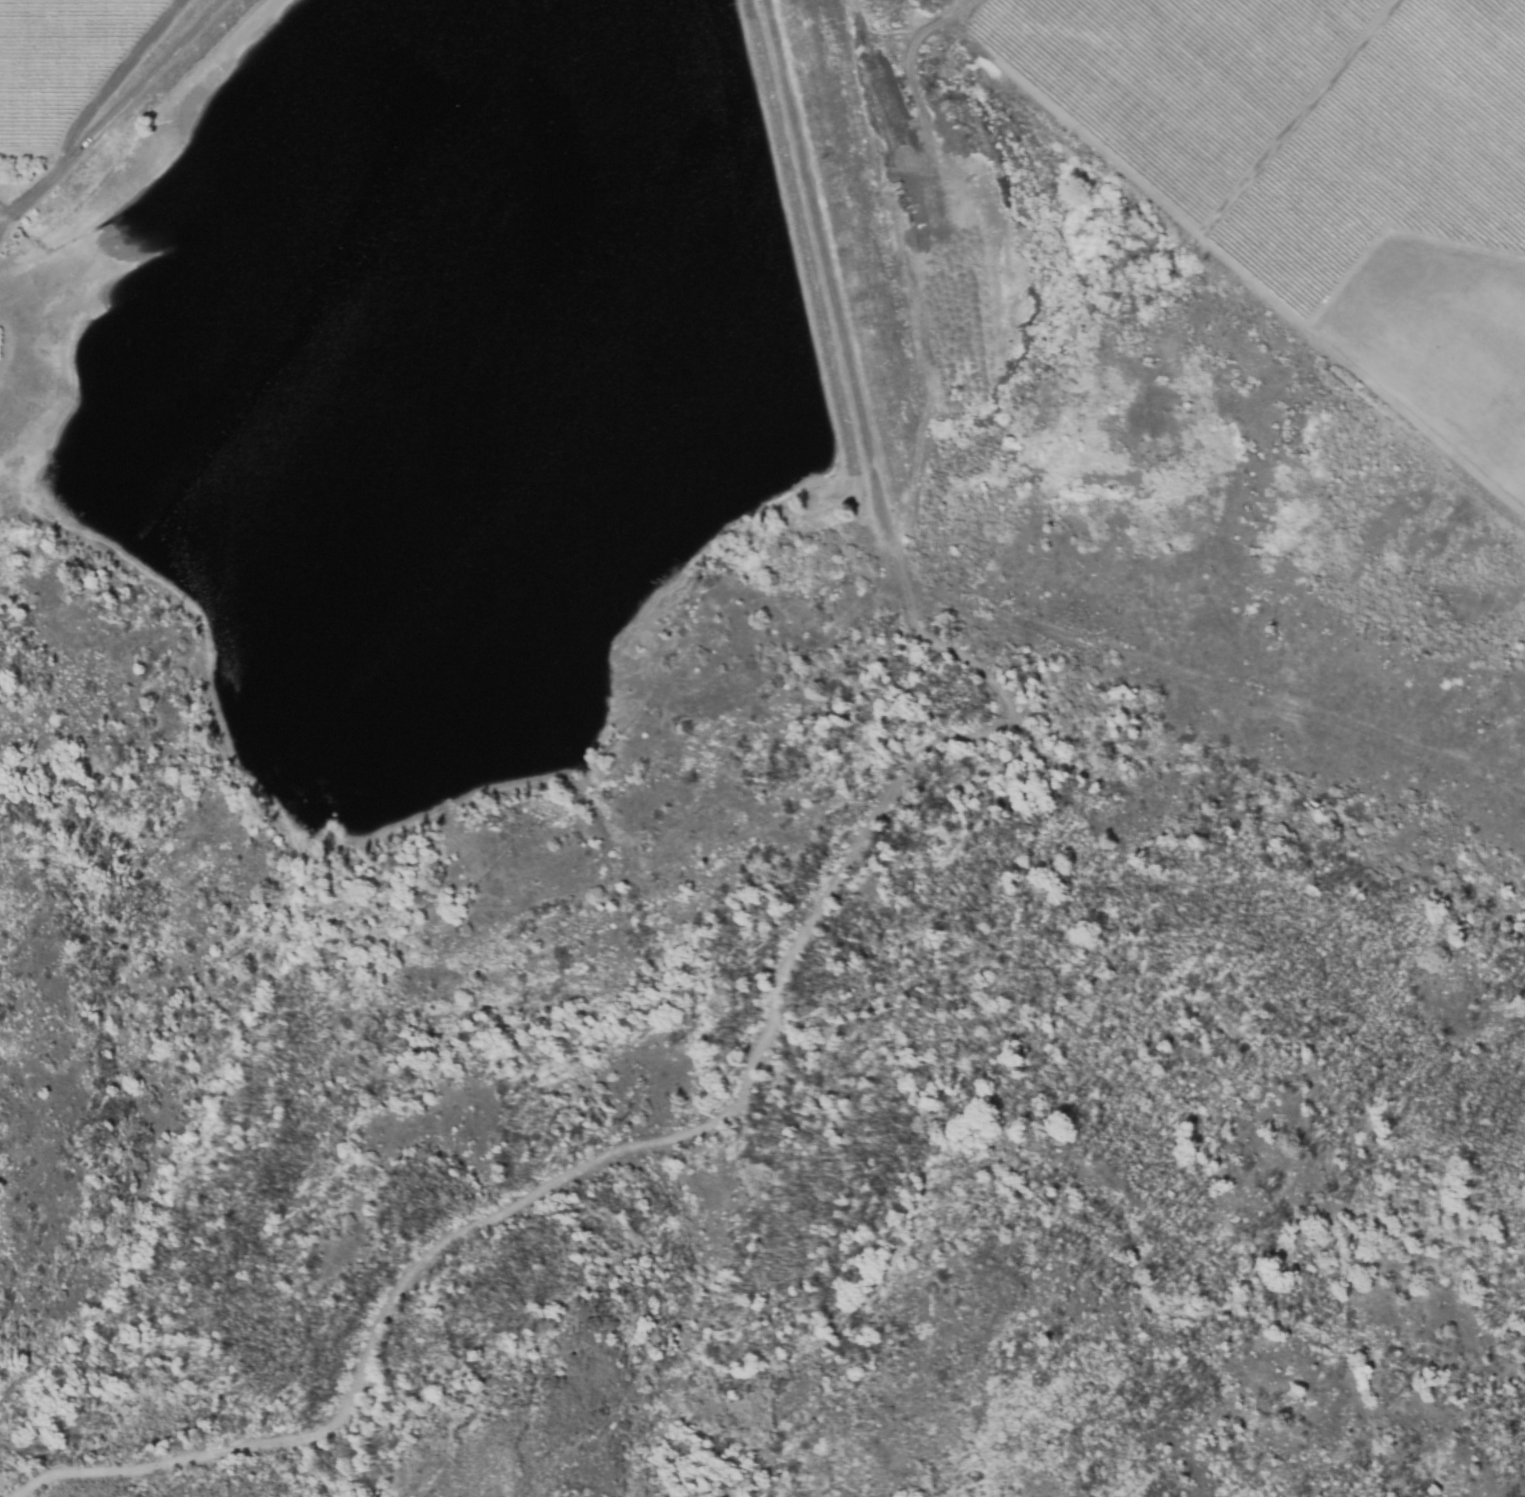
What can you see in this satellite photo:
dam: (142, 124)
dam: (809, 237)

